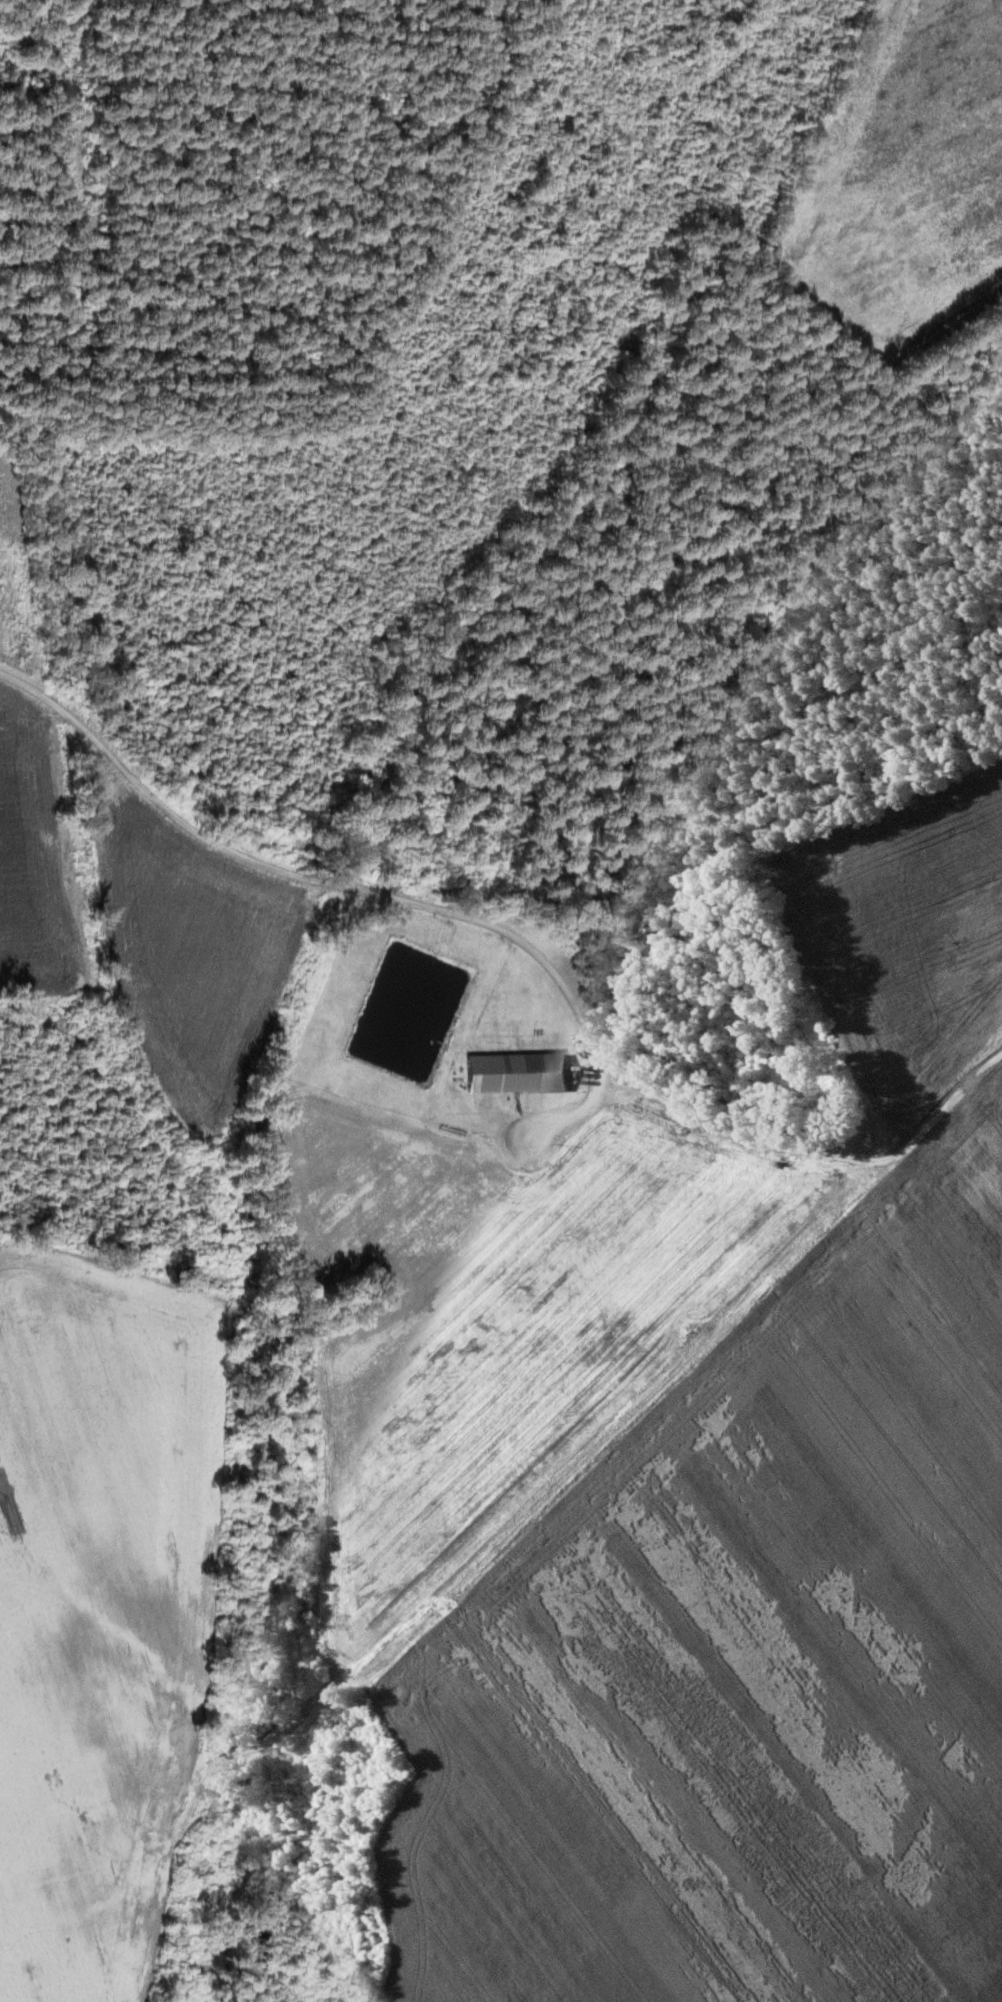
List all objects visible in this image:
building: (515, 1072)

